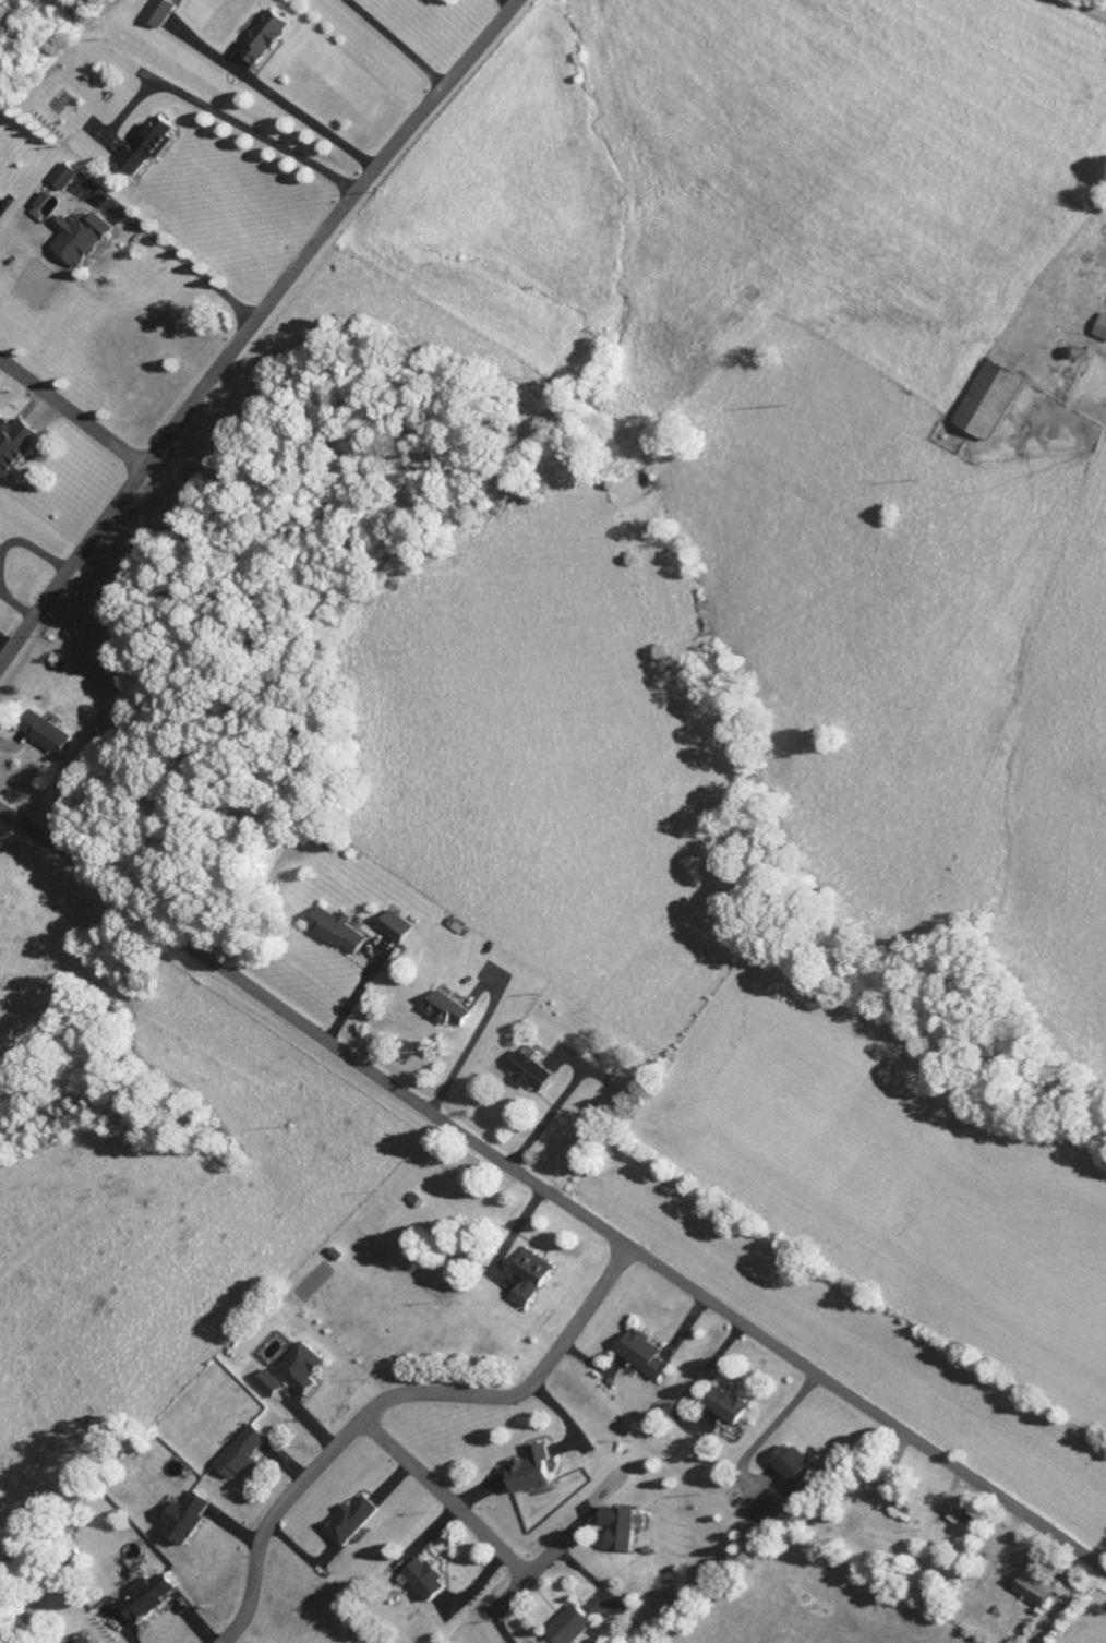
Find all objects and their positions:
building: (159, 15)
building: (264, 39)
building: (145, 151)
building: (62, 179)
building: (44, 208)
building: (79, 240)
road: (251, 326)
building: (1101, 332)
building: (987, 404)
road: (72, 413)
building: (14, 447)
building: (44, 736)
building: (395, 932)
building: (335, 934)
building: (446, 1015)
building: (530, 1075)
road: (550, 1194)
building: (529, 1280)
building: (641, 1357)
building: (301, 1370)
building: (268, 1387)
road: (396, 1396)
building: (728, 1408)
building: (241, 1455)
building: (792, 1468)
building: (532, 1473)
road: (447, 1497)
building: (769, 1510)
building: (899, 1514)
building: (184, 1520)
building: (351, 1524)
building: (618, 1531)
building: (423, 1582)
building: (1038, 1590)
building: (146, 1600)
building: (569, 1627)
building: (88, 1642)

